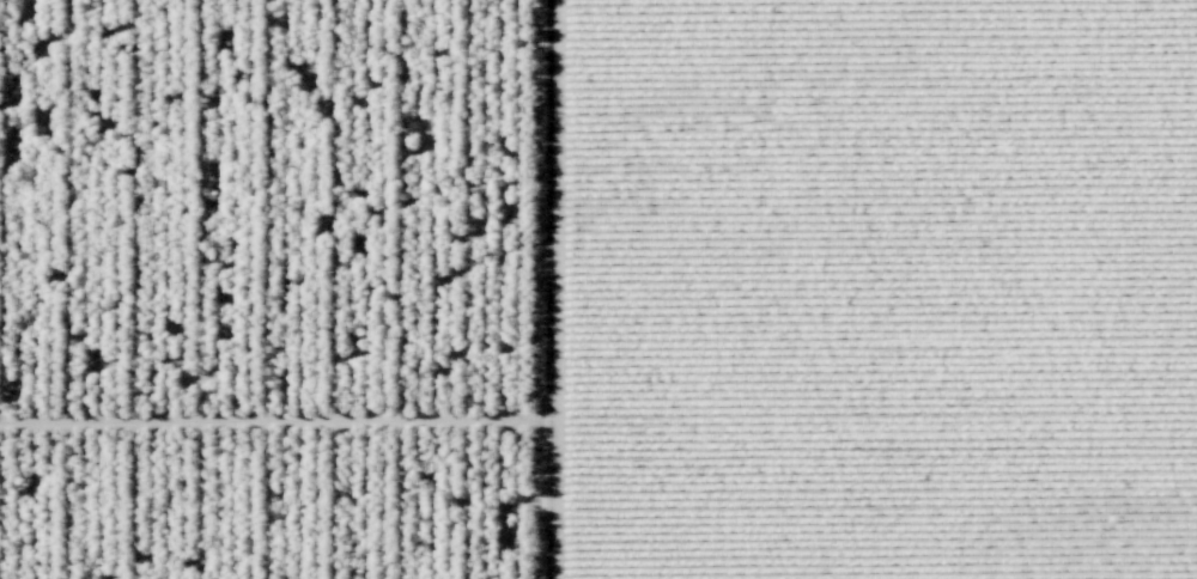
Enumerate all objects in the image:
road: (546, 288)
road: (272, 416)

